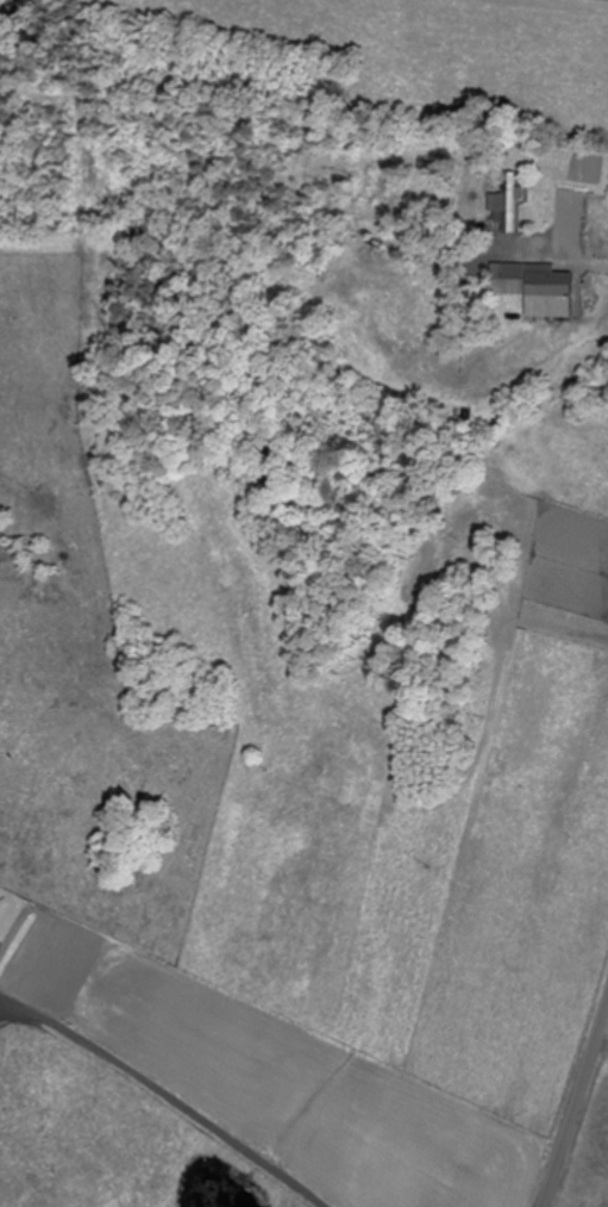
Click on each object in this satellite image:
building: (510, 200)
building: (538, 288)
road: (594, 1091)
road: (576, 1102)
road: (57, 1157)

